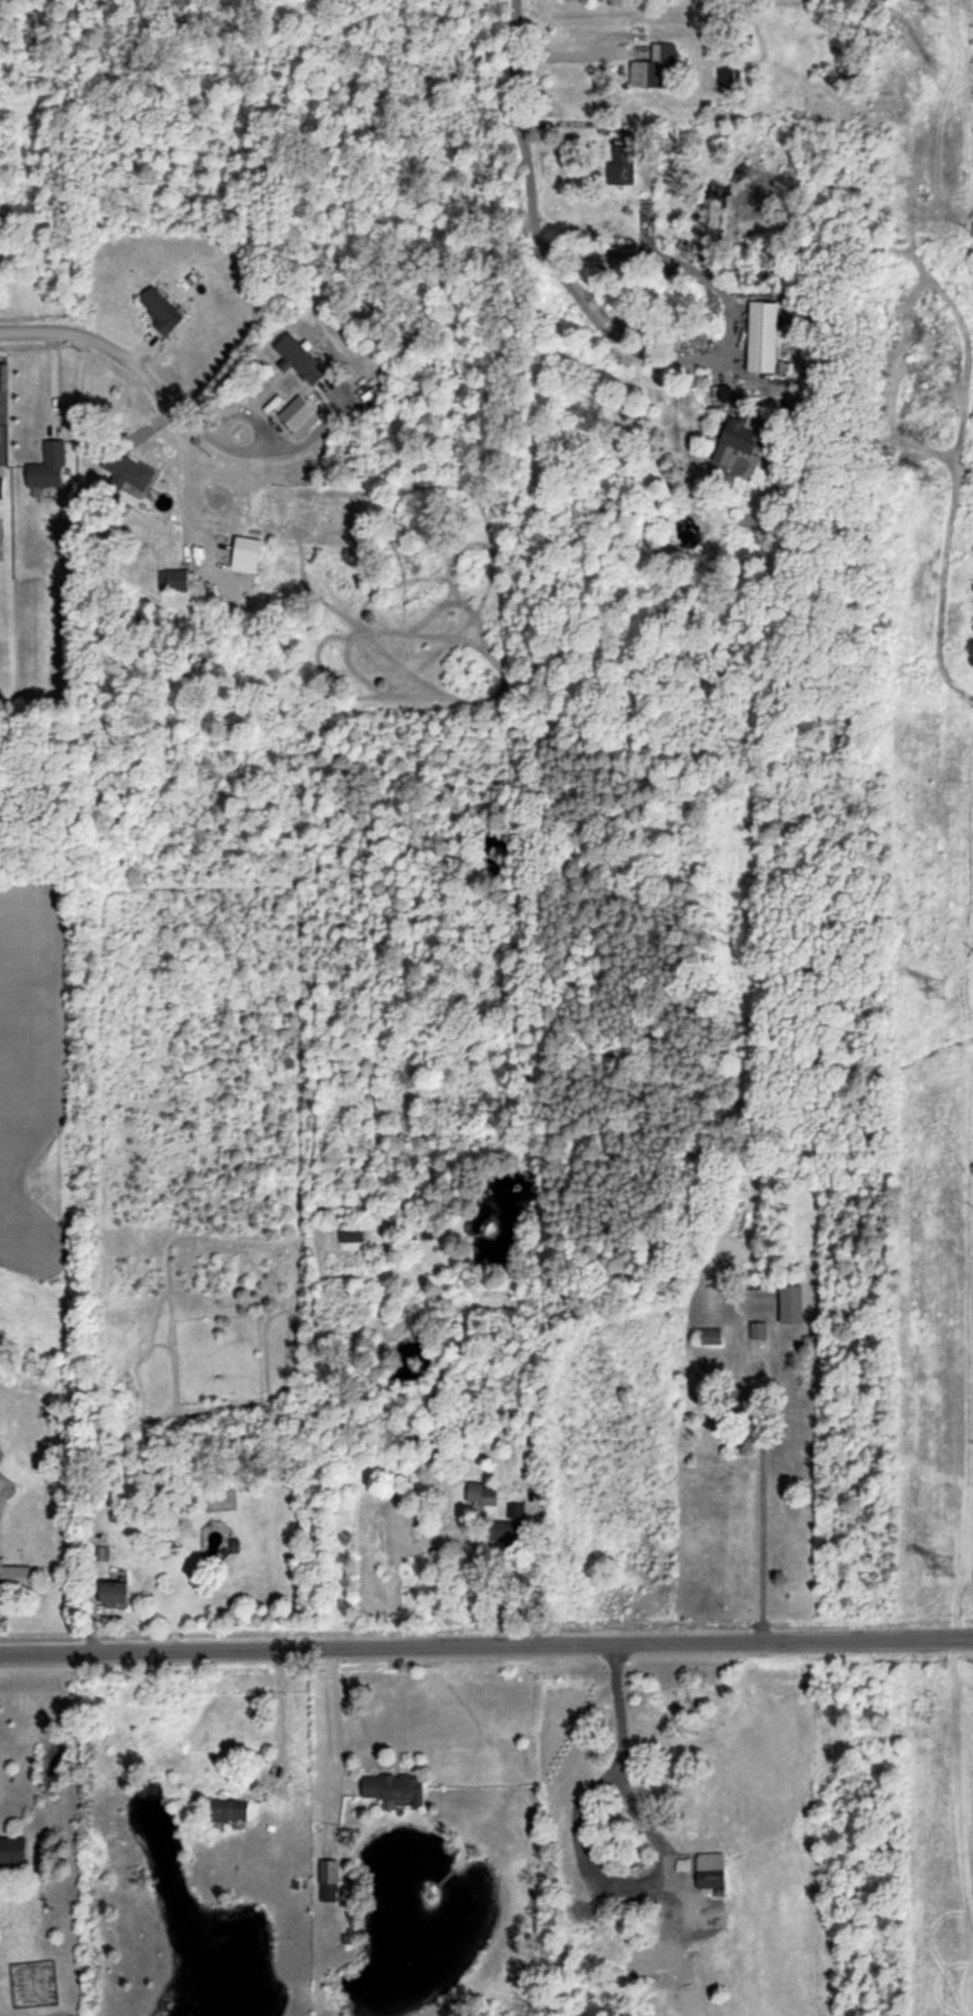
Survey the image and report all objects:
power tower: (932, 8)
road: (512, 46)
building: (654, 68)
building: (726, 79)
building: (620, 165)
building: (160, 309)
road: (41, 329)
building: (762, 336)
road: (655, 357)
building: (806, 357)
building: (299, 359)
road: (54, 382)
road: (155, 390)
building: (298, 416)
building: (733, 440)
building: (48, 465)
building: (127, 470)
power tower: (931, 477)
road: (182, 481)
building: (1, 488)
building: (246, 548)
building: (172, 579)
power tower: (933, 989)
building: (351, 1233)
building: (790, 1303)
building: (758, 1329)
building: (709, 1336)
building: (743, 1393)
building: (481, 1492)
building: (514, 1509)
building: (506, 1531)
road: (762, 1535)
power tower: (941, 1566)
building: (14, 1574)
road: (531, 1584)
building: (113, 1593)
road: (486, 1646)
road: (331, 1716)
building: (393, 1788)
building: (228, 1810)
building: (12, 1850)
building: (714, 1878)
building: (327, 1880)

